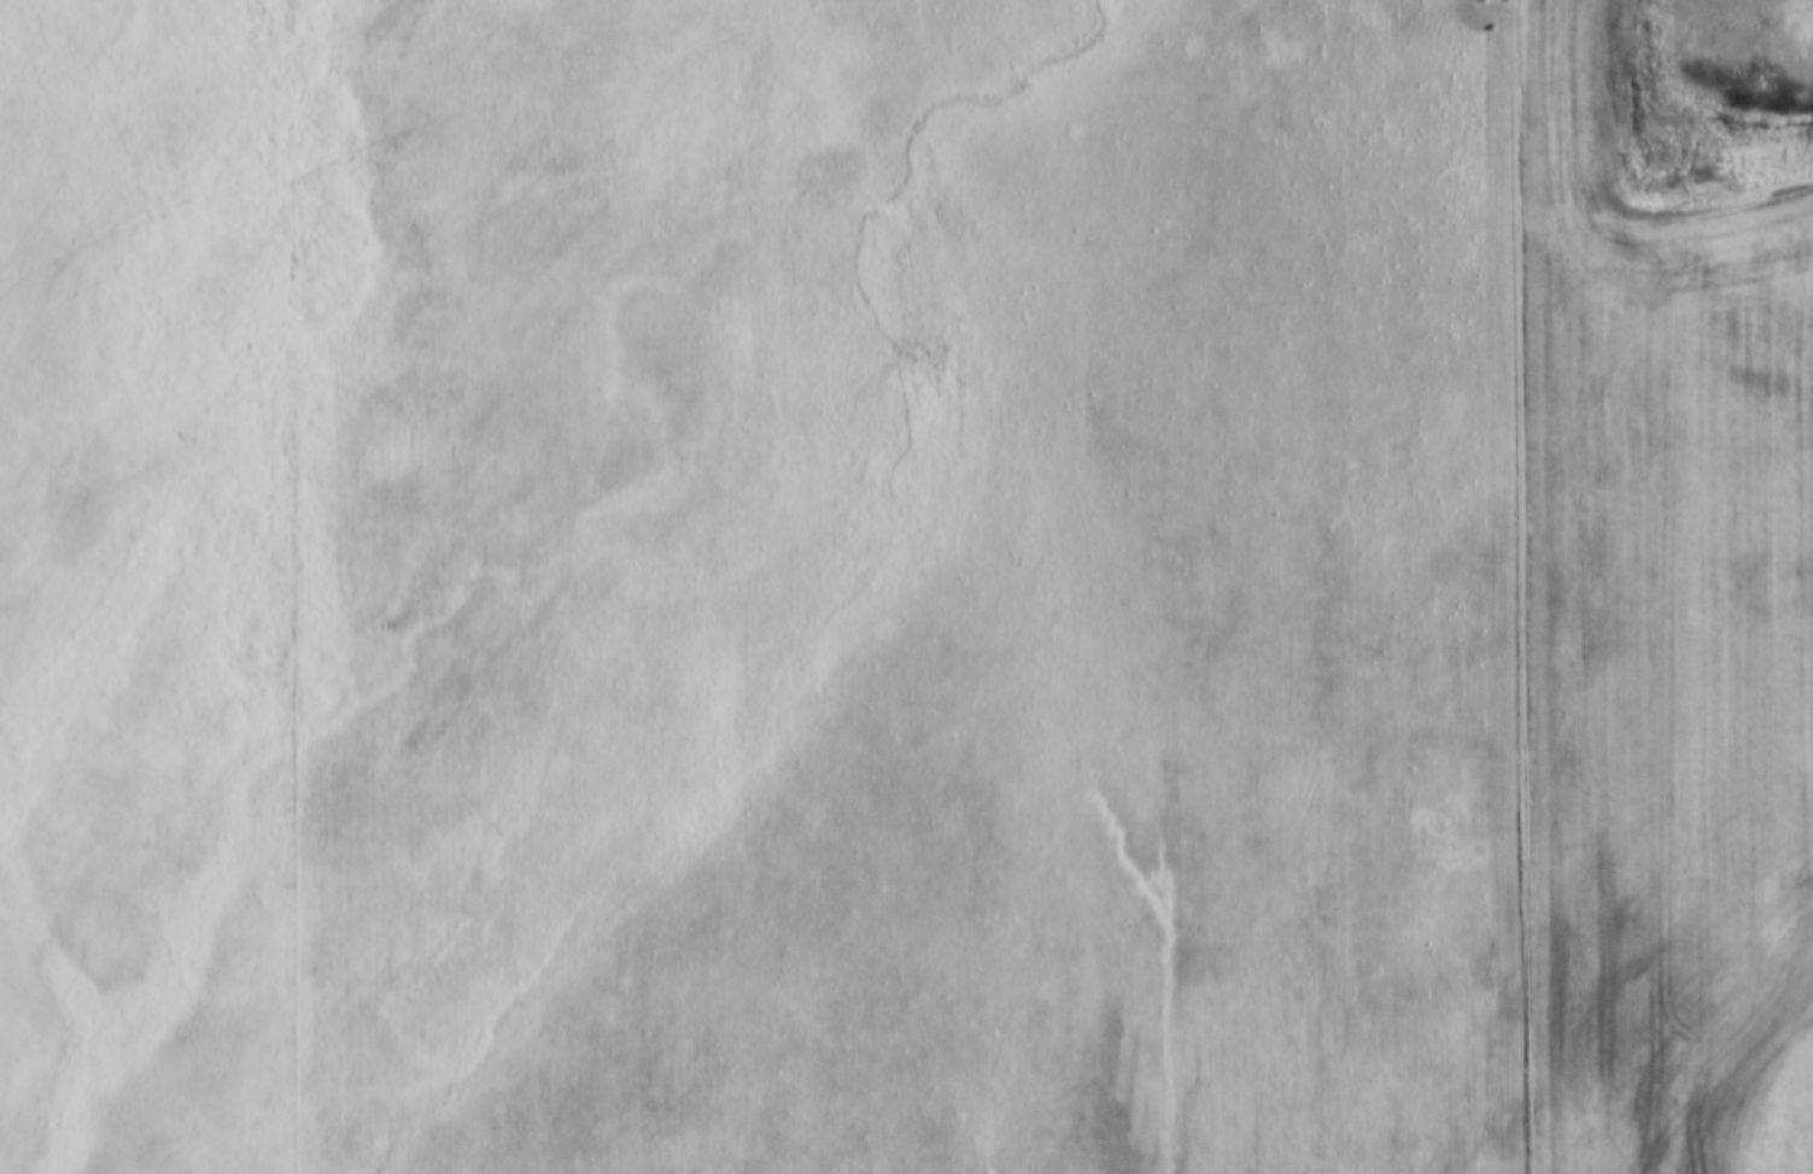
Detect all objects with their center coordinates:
quarry: (1792, 48)

